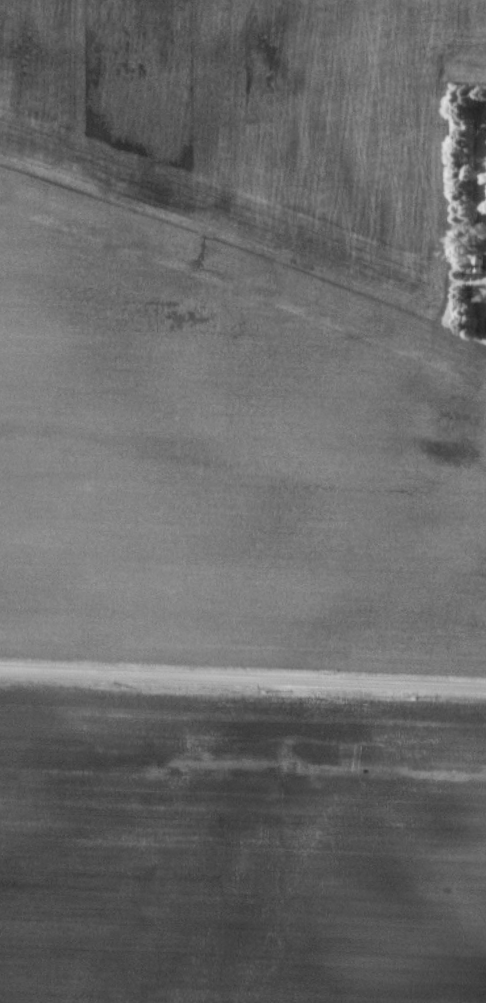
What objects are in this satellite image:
road: (243, 680)

